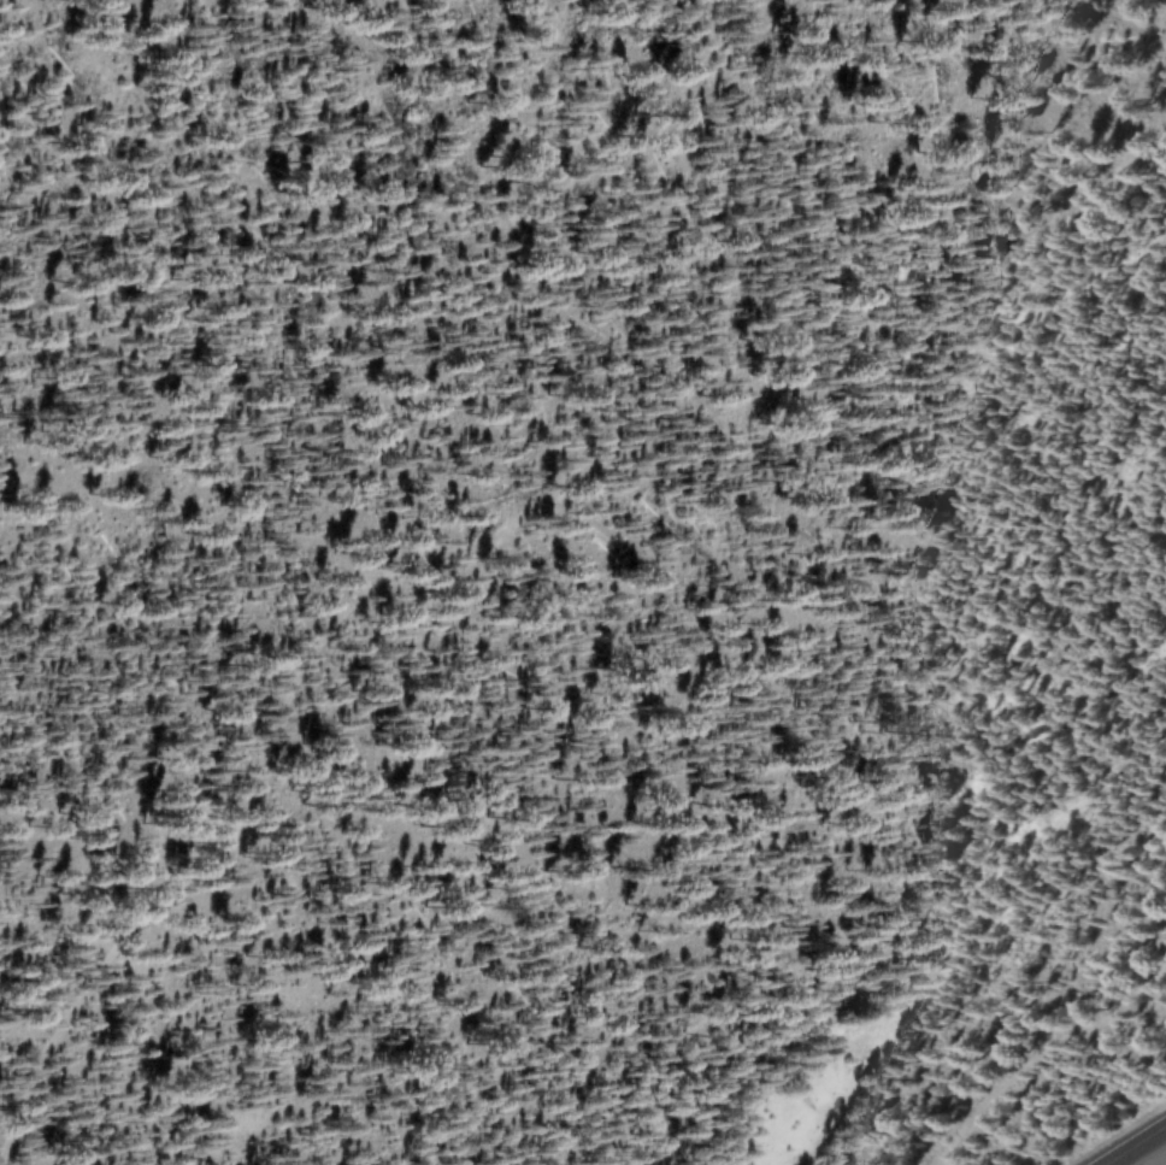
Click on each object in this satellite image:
road: (1136, 1146)

